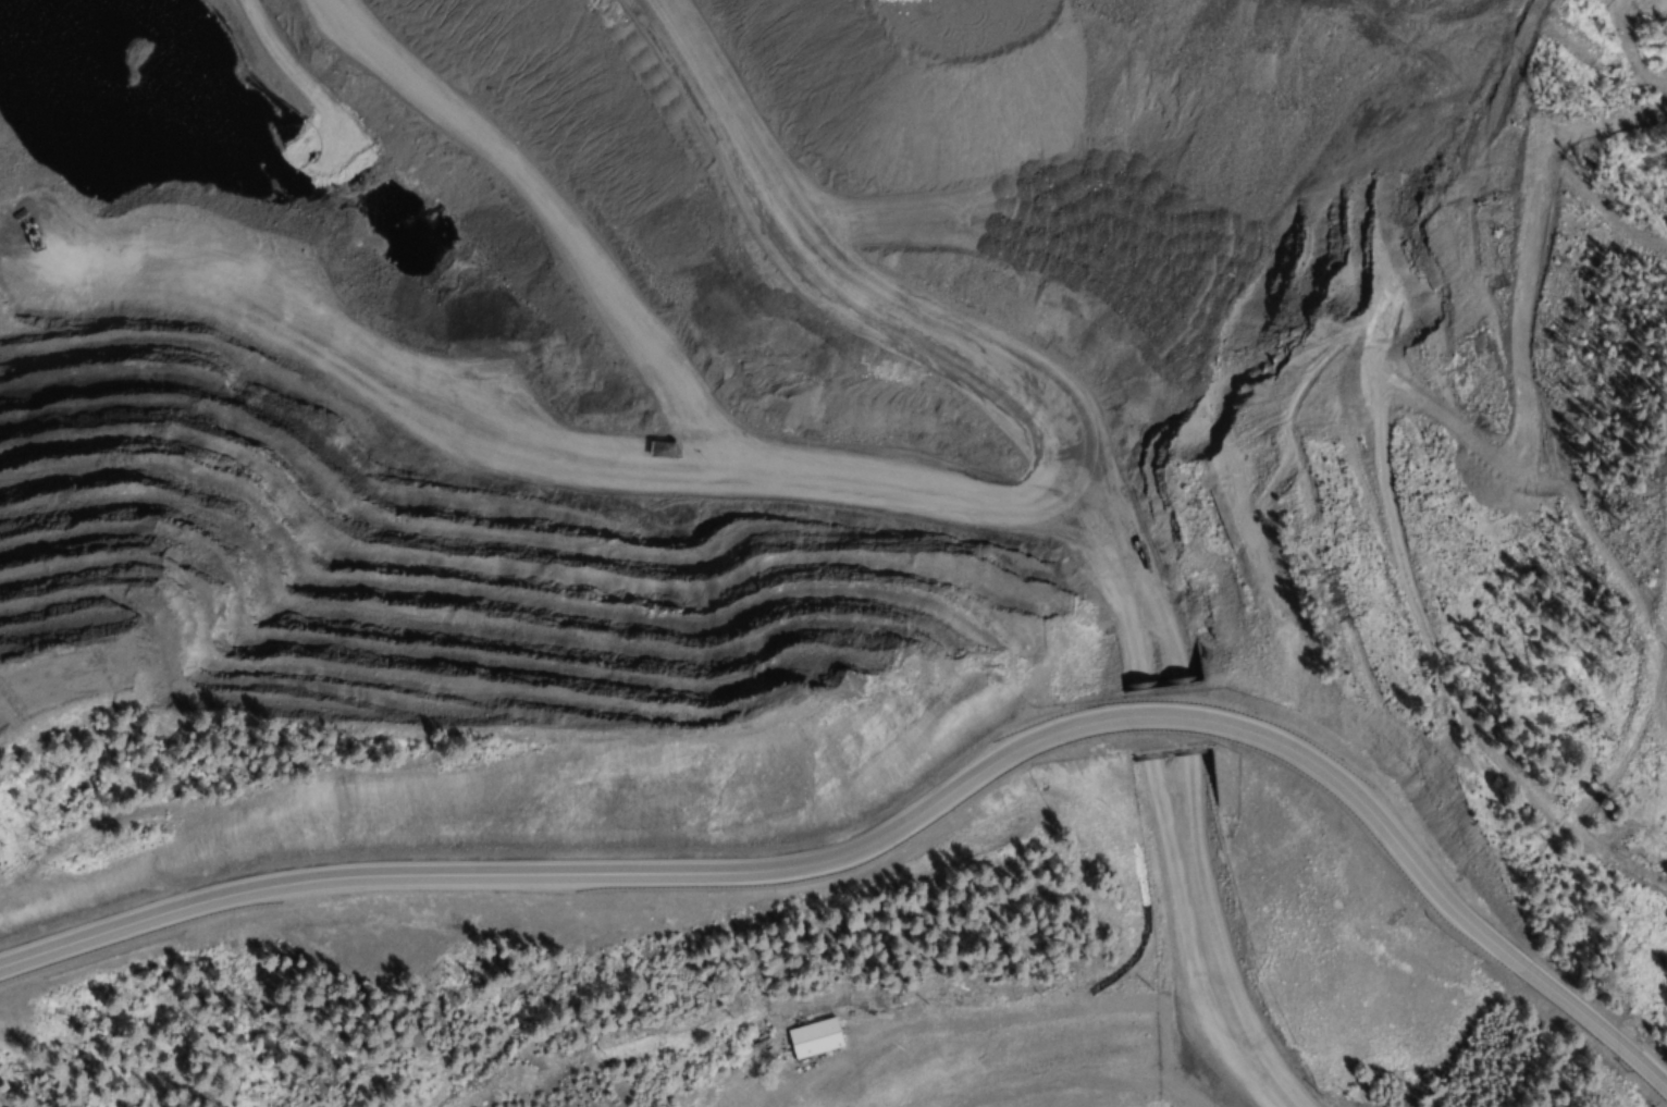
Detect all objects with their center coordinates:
quarry: (362, 439)
road: (904, 816)
building: (815, 1040)

